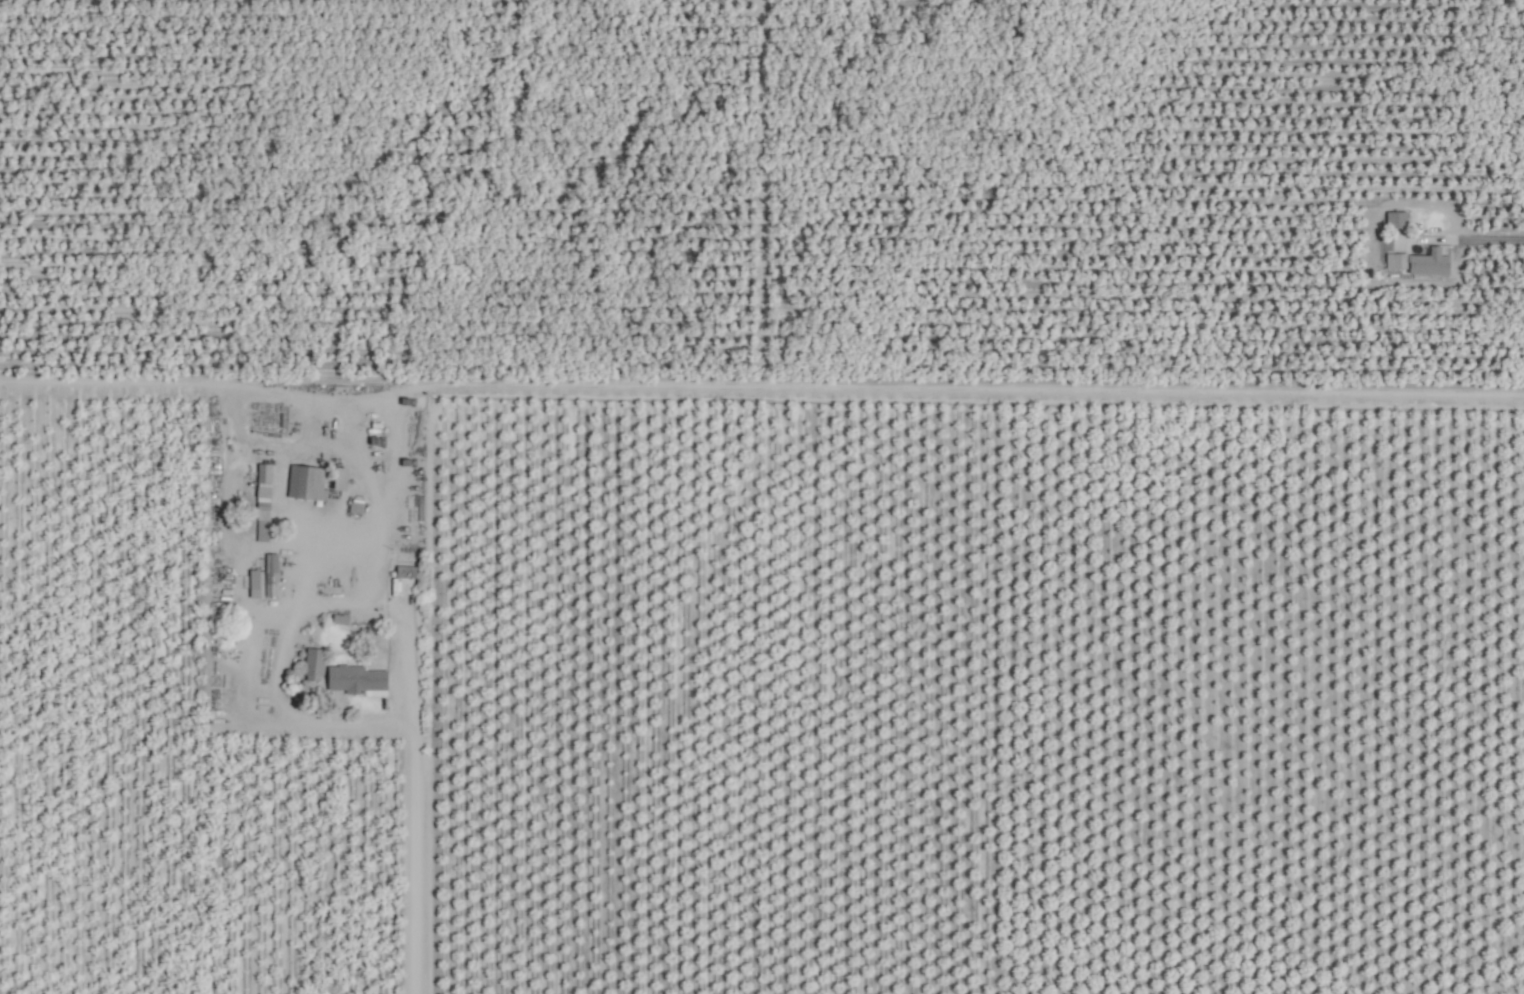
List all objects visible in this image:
building: (1398, 219)
road: (1490, 236)
building: (1397, 260)
building: (1431, 263)
road: (890, 391)
building: (344, 479)
building: (306, 482)
crop: (762, 497)
building: (264, 500)
road: (317, 545)
building: (272, 574)
building: (315, 663)
road: (279, 675)
building: (358, 680)
road: (409, 743)

